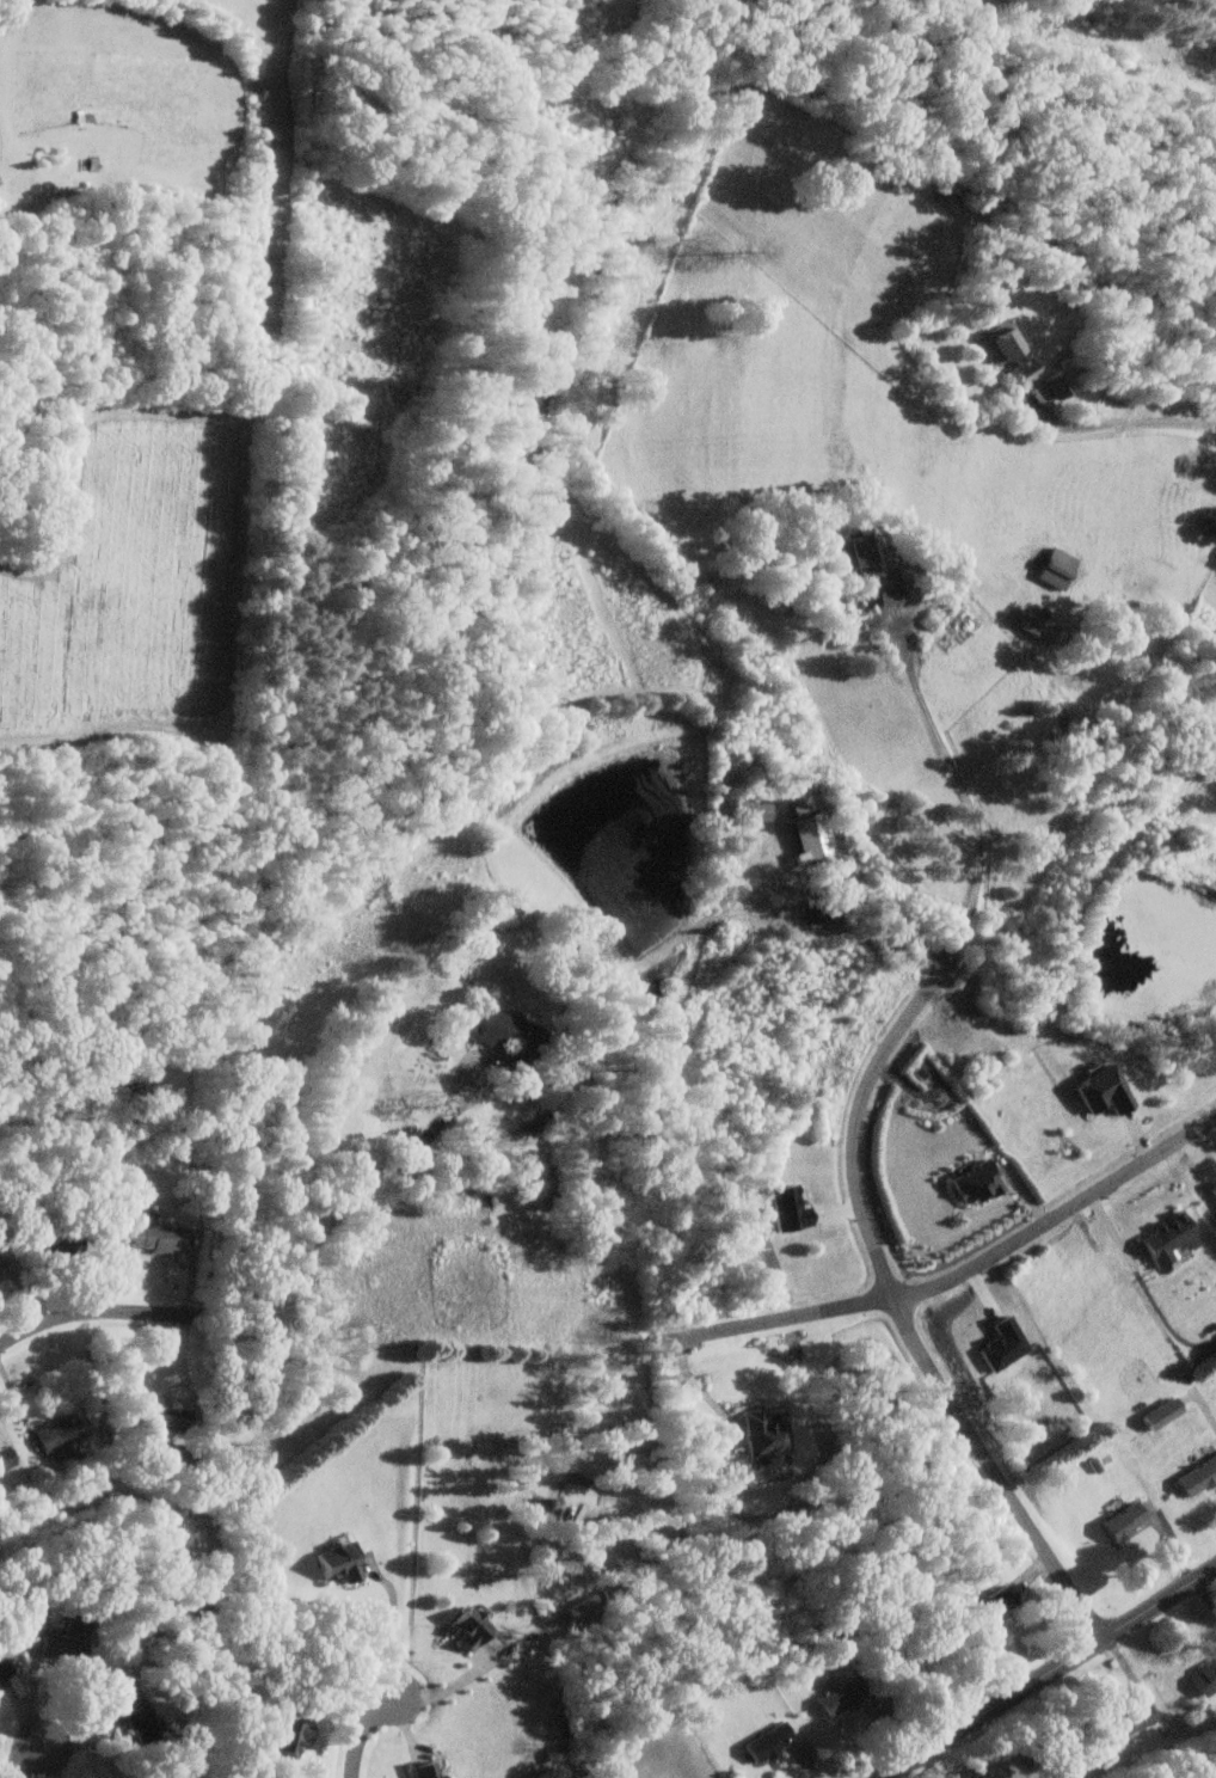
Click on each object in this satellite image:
building: (1007, 354)
road: (1125, 423)
building: (1052, 565)
building: (864, 566)
building: (1033, 624)
building: (747, 808)
building: (517, 1037)
building: (1098, 1089)
road: (854, 1135)
road: (401, 1159)
building: (971, 1182)
building: (154, 1233)
building: (1163, 1237)
building: (1, 1273)
road: (963, 1274)
road: (115, 1312)
road: (701, 1390)
building: (1156, 1412)
building: (763, 1431)
building: (62, 1435)
building: (8, 1455)
building: (1194, 1474)
building: (1120, 1520)
building: (343, 1561)
building: (991, 1602)
building: (477, 1627)
road: (394, 1635)
building: (65, 1641)
building: (2, 1668)
road: (1049, 1673)
building: (1203, 1678)
road: (450, 1685)
building: (837, 1697)
building: (136, 1710)
building: (1123, 1722)
road: (366, 1733)
building: (295, 1735)
building: (764, 1741)
road: (25, 1765)
building: (431, 1770)

